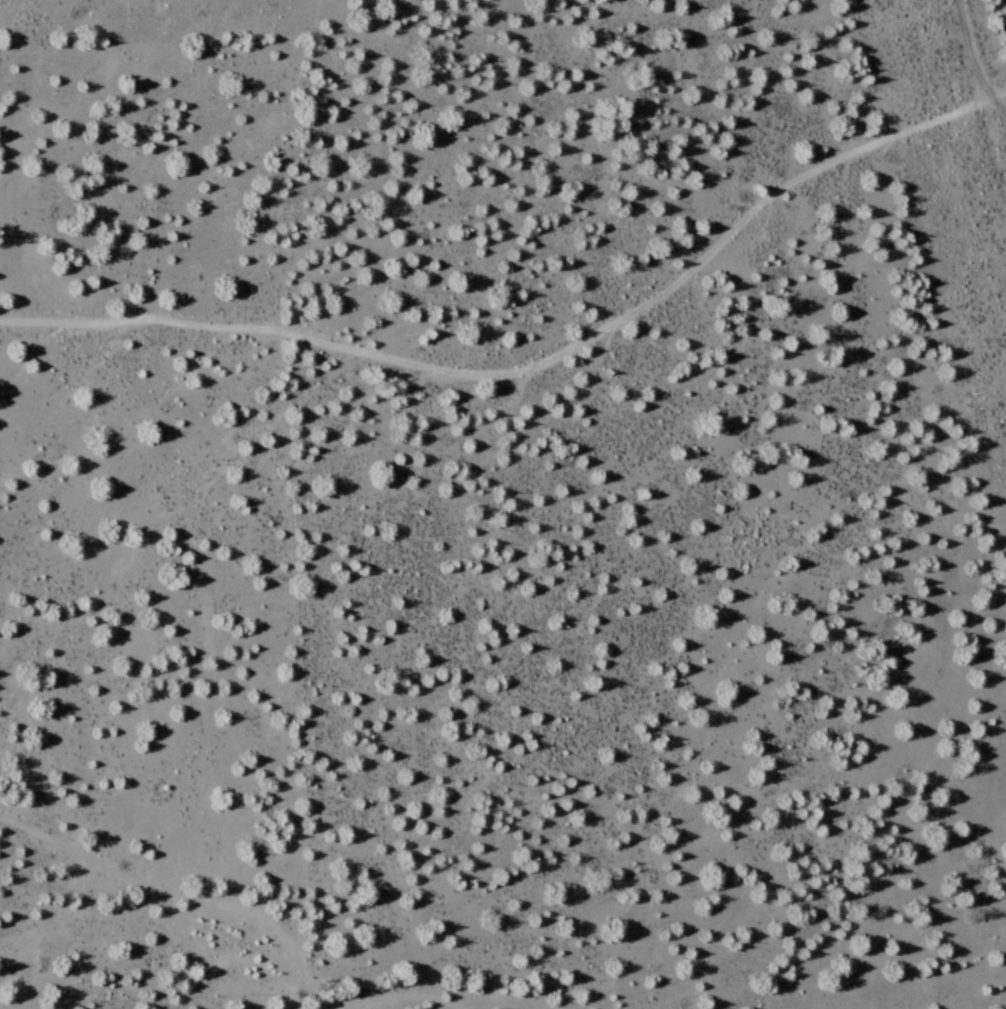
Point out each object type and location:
road: (981, 71)

